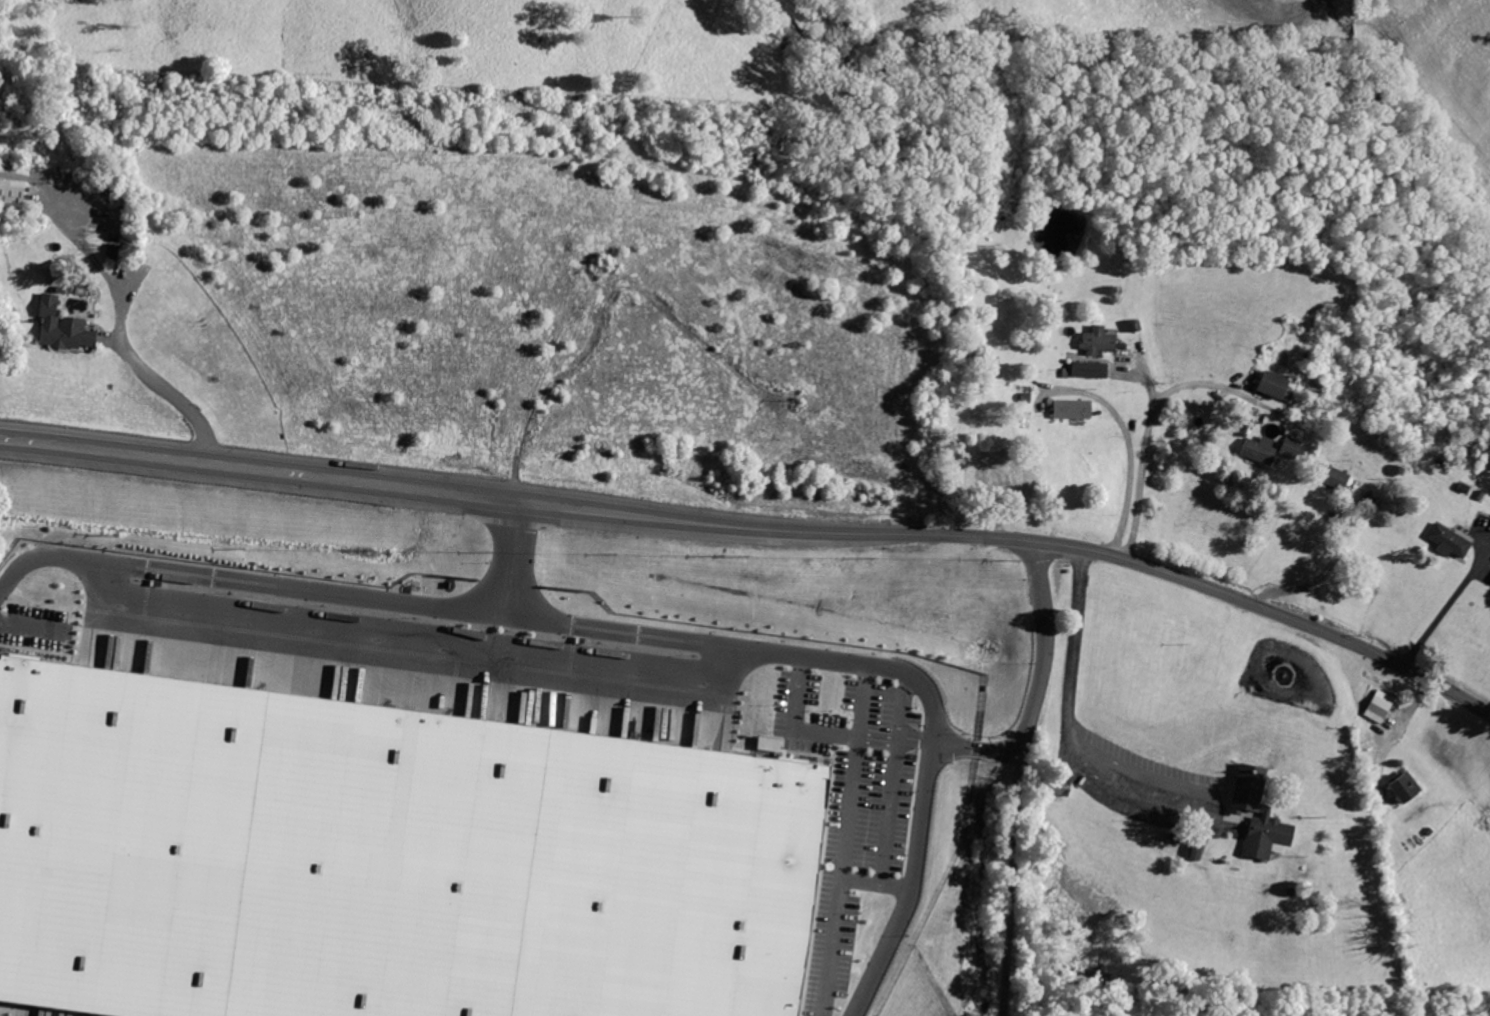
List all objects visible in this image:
building: (12, 195)
building: (118, 250)
road: (118, 324)
building: (64, 325)
road: (108, 336)
building: (1096, 340)
building: (1088, 368)
building: (1273, 385)
building: (1071, 408)
road: (1148, 433)
road: (28, 440)
building: (1289, 446)
road: (1130, 447)
building: (1258, 449)
road: (288, 473)
building: (1332, 475)
building: (1010, 479)
road: (758, 529)
building: (1448, 539)
road: (41, 556)
road: (511, 559)
road: (1319, 578)
building: (1489, 579)
road: (298, 587)
road: (1251, 602)
road: (1445, 611)
road: (34, 624)
road: (618, 630)
road: (411, 631)
road: (1073, 645)
fountain: (1285, 671)
road: (862, 699)
building: (1379, 704)
road: (900, 707)
road: (794, 723)
road: (895, 740)
road: (978, 748)
road: (930, 760)
road: (1019, 777)
building: (1402, 788)
road: (849, 806)
road: (888, 811)
road: (1210, 811)
building: (1257, 813)
building: (385, 857)
road: (875, 881)
road: (830, 946)

